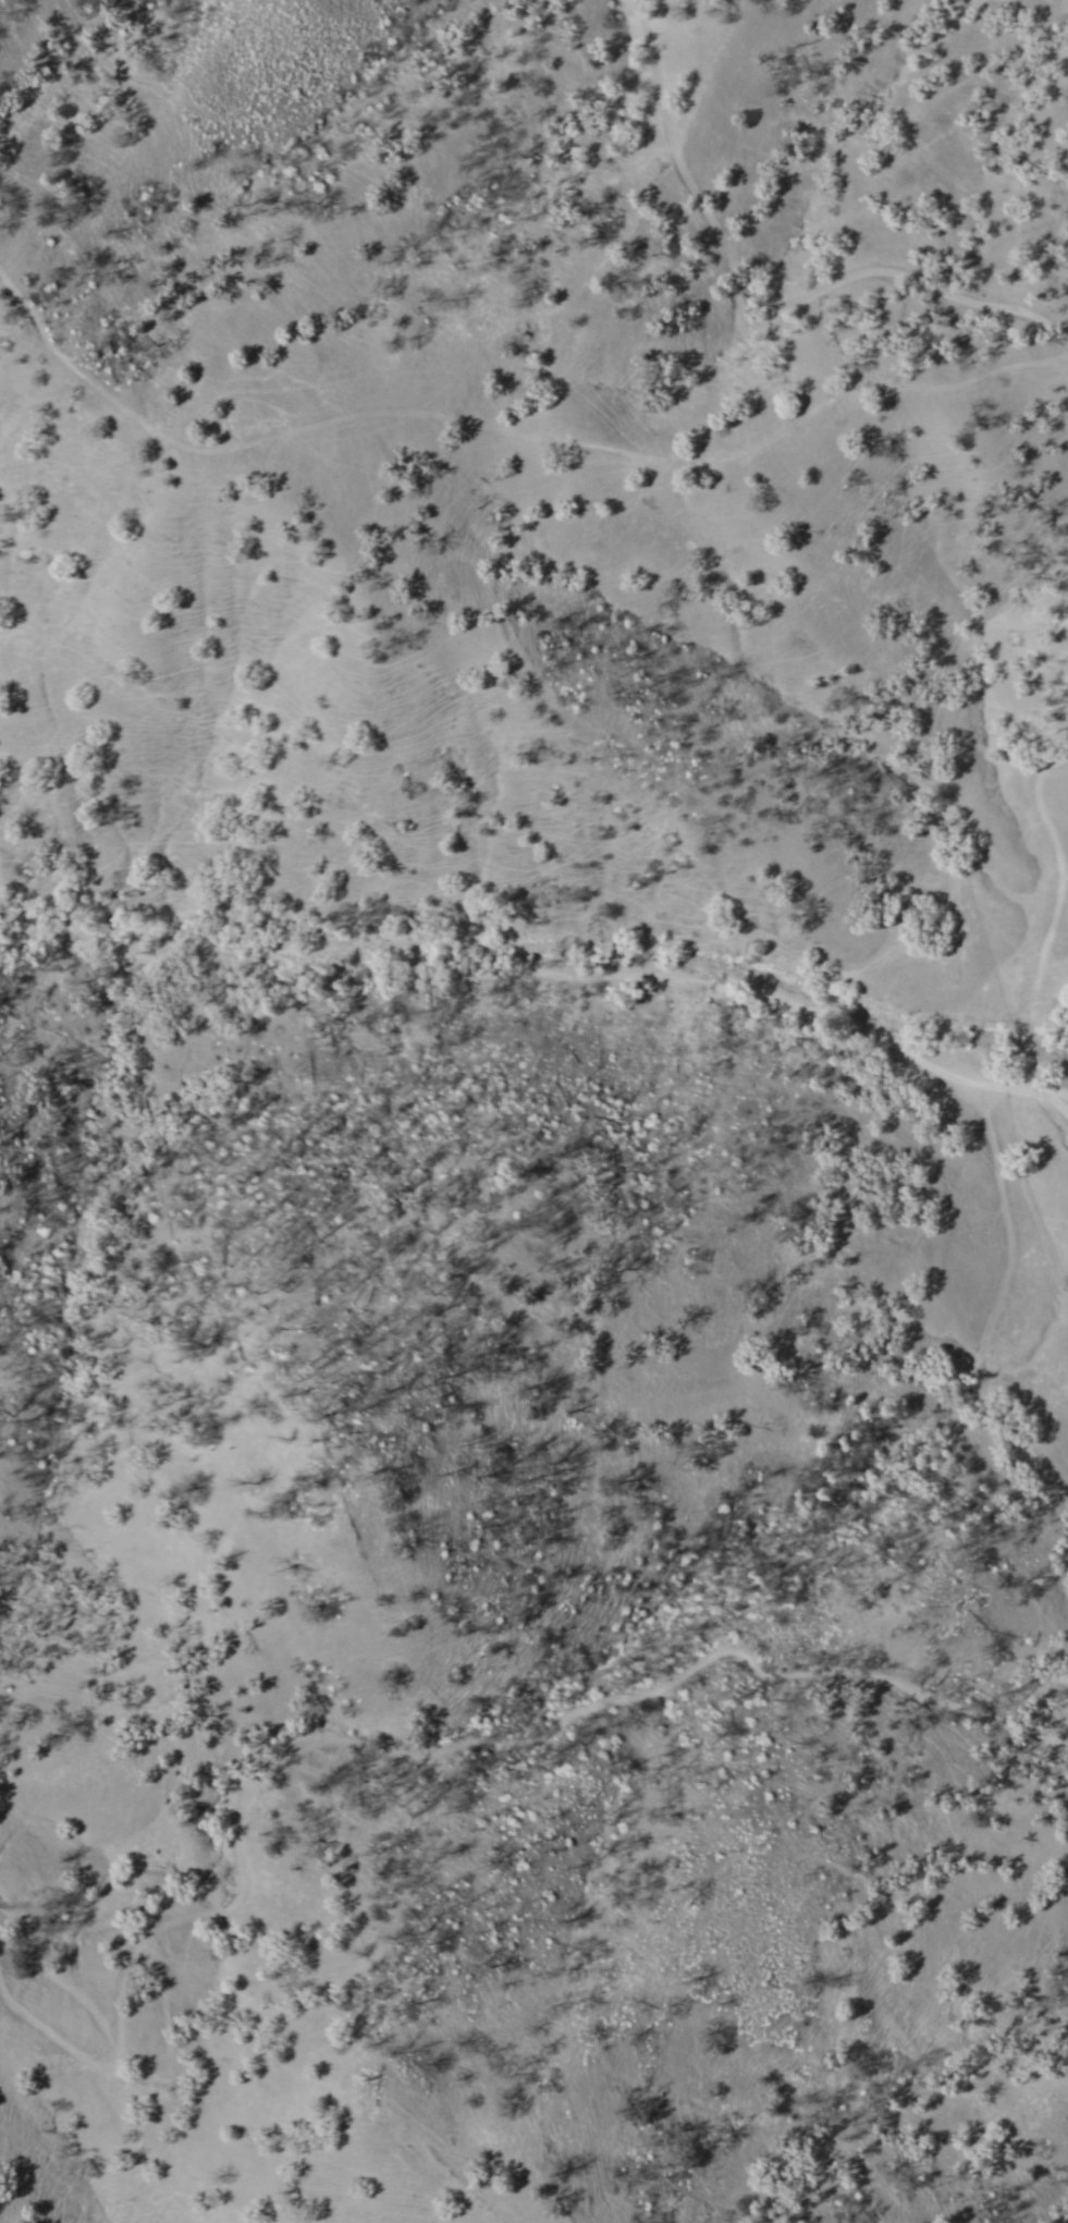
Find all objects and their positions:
road: (1066, 863)
road: (1048, 973)
road: (1029, 1045)
road: (1061, 1103)

